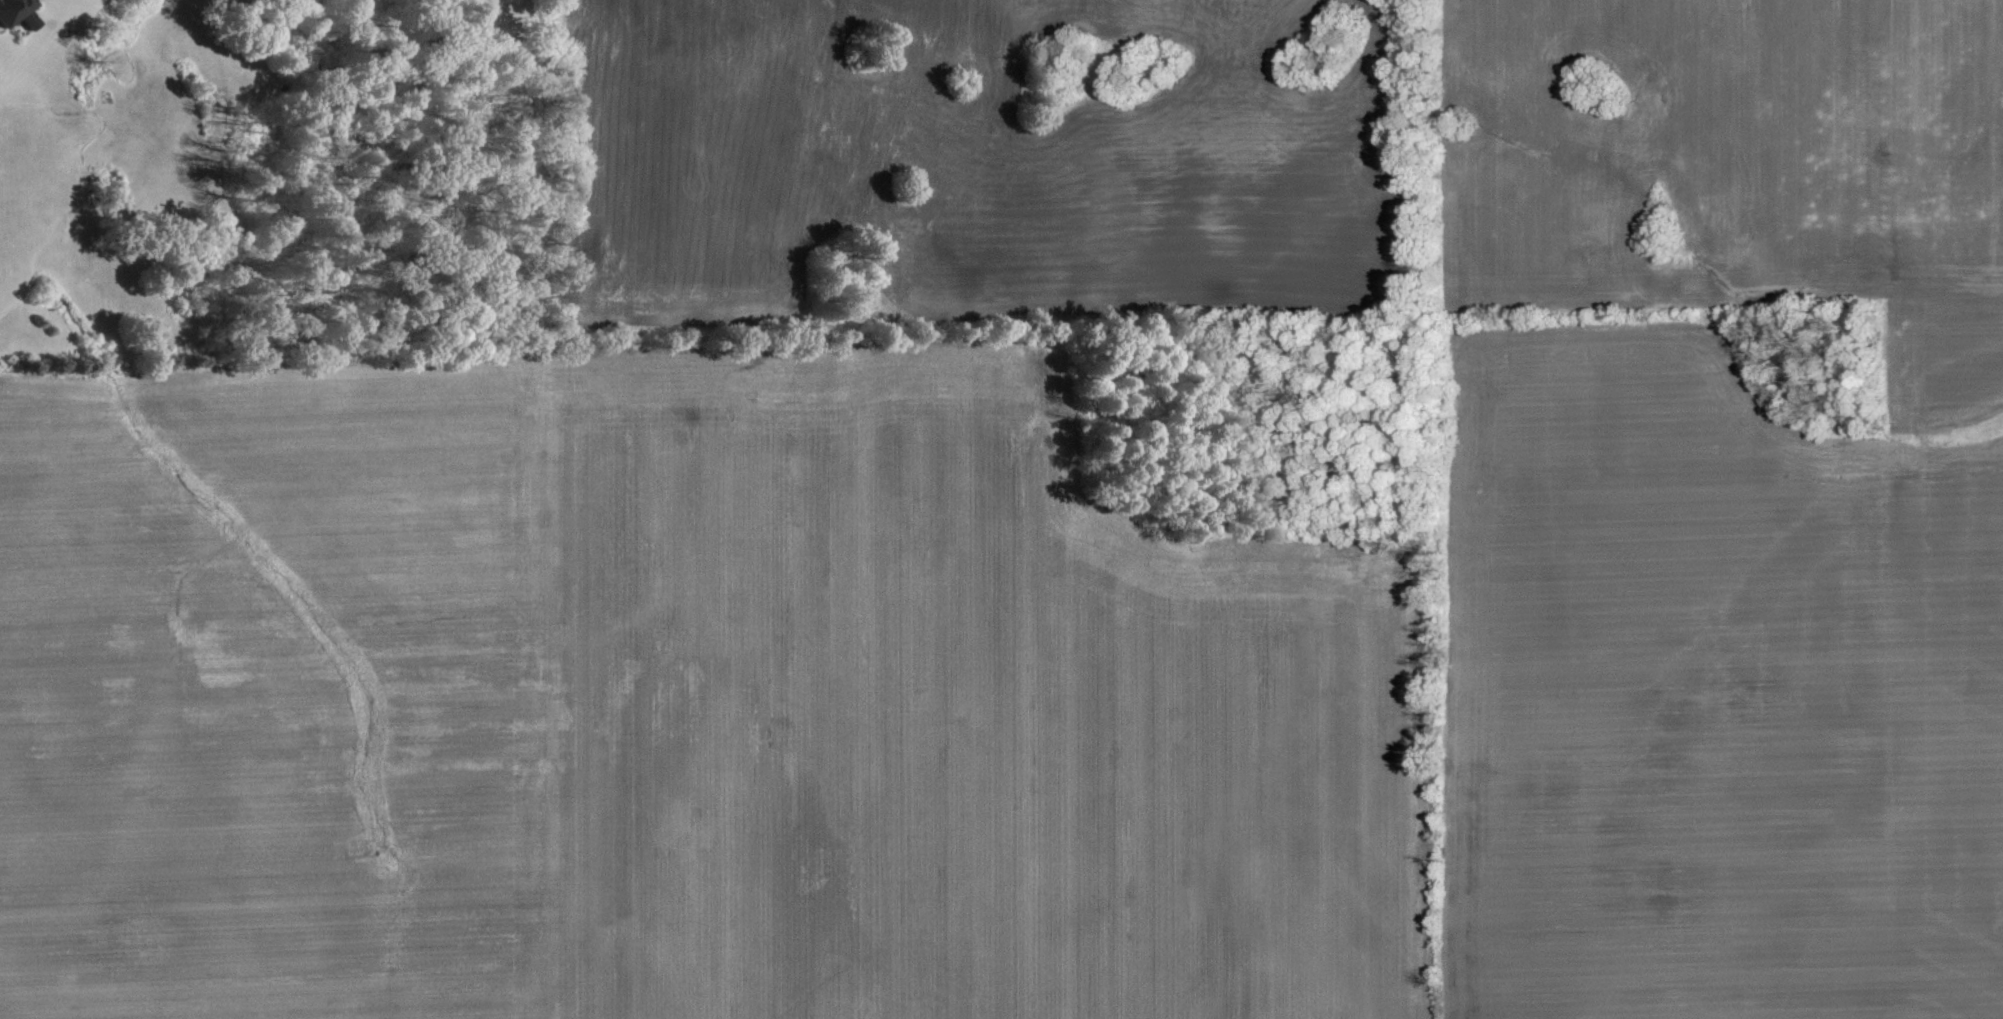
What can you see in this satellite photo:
building: (17, 12)

